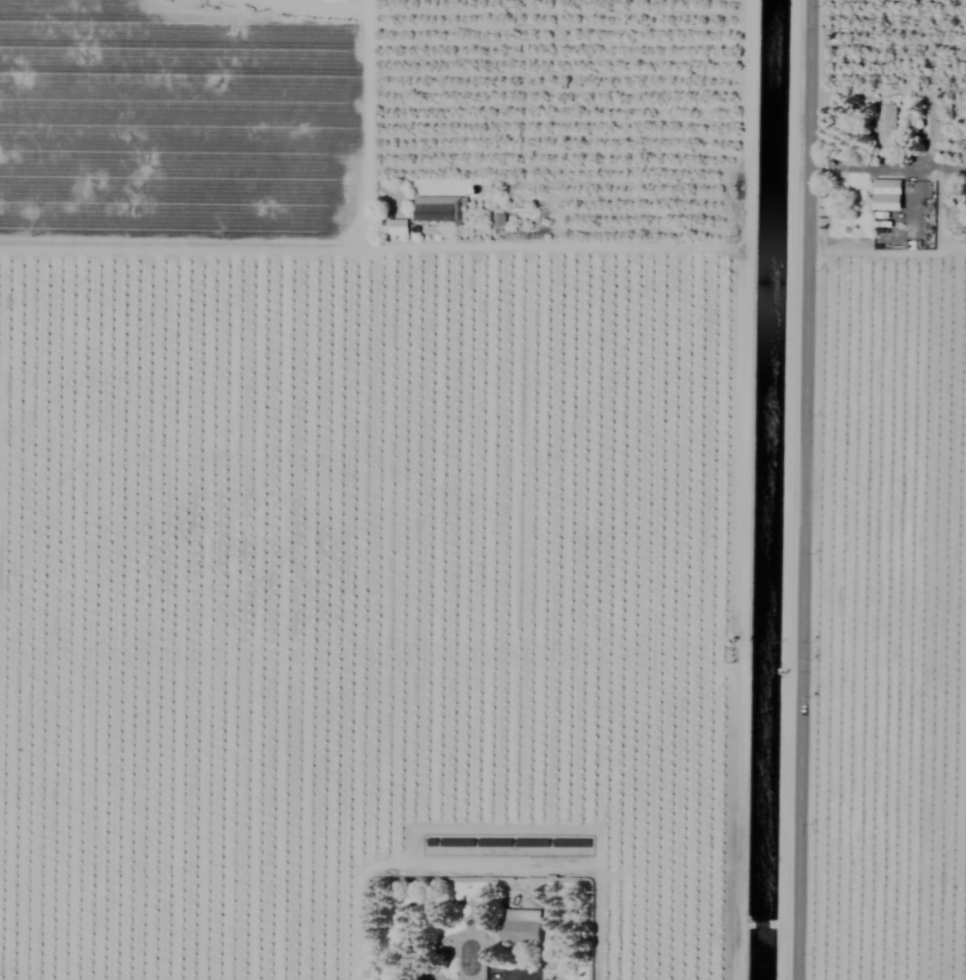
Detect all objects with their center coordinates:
building: (885, 127)
road: (887, 164)
building: (886, 195)
building: (965, 198)
building: (436, 209)
building: (498, 220)
road: (298, 241)
road: (544, 249)
road: (886, 253)
road: (743, 489)
road: (803, 489)
crop: (483, 490)
building: (519, 926)
building: (415, 964)

